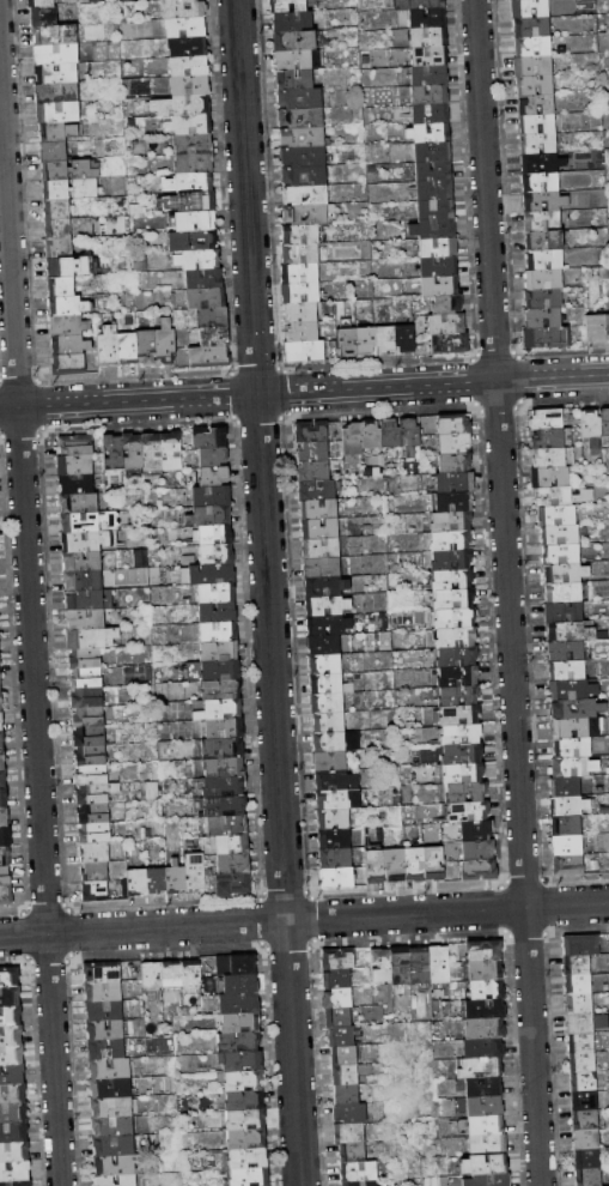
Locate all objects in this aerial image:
building: (168, 0)
building: (516, 0)
building: (114, 1)
building: (42, 4)
building: (419, 5)
building: (288, 6)
building: (183, 8)
building: (530, 8)
building: (44, 16)
building: (427, 19)
building: (293, 22)
building: (185, 28)
building: (531, 28)
building: (55, 35)
building: (428, 38)
building: (296, 42)
building: (188, 47)
building: (532, 48)
building: (57, 55)
building: (430, 56)
building: (298, 60)
building: (189, 67)
building: (534, 67)
building: (57, 74)
building: (430, 75)
building: (294, 80)
building: (535, 85)
building: (189, 86)
building: (57, 93)
building: (431, 96)
building: (300, 99)
building: (536, 104)
building: (181, 105)
building: (59, 113)
building: (431, 114)
building: (302, 117)
building: (189, 125)
building: (537, 125)
building: (57, 132)
building: (416, 132)
building: (303, 137)
building: (193, 144)
building: (538, 144)
building: (54, 152)
building: (433, 152)
building: (304, 156)
building: (194, 163)
building: (556, 165)
building: (69, 170)
building: (434, 171)
building: (305, 176)
building: (541, 182)
building: (188, 183)
building: (71, 189)
building: (434, 190)
building: (306, 195)
building: (196, 201)
building: (559, 205)
building: (57, 210)
building: (436, 210)
building: (306, 214)
building: (194, 220)
building: (542, 222)
building: (69, 229)
building: (433, 229)
building: (300, 234)
building: (191, 241)
building: (544, 241)
building: (438, 248)
building: (60, 249)
building: (300, 254)
building: (199, 260)
building: (544, 260)
building: (71, 267)
building: (439, 267)
building: (300, 273)
building: (205, 279)
building: (544, 279)
building: (440, 286)
building: (61, 288)
building: (300, 294)
building: (206, 298)
building: (543, 298)
building: (447, 305)
building: (68, 307)
building: (302, 313)
building: (213, 317)
building: (542, 317)
building: (607, 323)
building: (446, 325)
building: (69, 326)
building: (596, 328)
building: (303, 332)
building: (215, 337)
building: (546, 338)
building: (406, 339)
building: (366, 340)
building: (385, 340)
building: (166, 341)
building: (347, 343)
building: (450, 343)
building: (71, 345)
building: (109, 347)
building: (146, 347)
building: (127, 349)
building: (304, 351)
building: (211, 357)
building: (68, 365)
road: (304, 392)
building: (548, 419)
building: (453, 424)
building: (604, 424)
building: (591, 430)
building: (311, 432)
building: (371, 435)
building: (409, 436)
building: (390, 437)
building: (209, 438)
building: (549, 438)
building: (353, 440)
building: (455, 443)
building: (75, 444)
building: (133, 452)
building: (171, 452)
building: (313, 452)
building: (114, 453)
building: (152, 453)
building: (214, 456)
building: (549, 458)
building: (455, 462)
building: (75, 465)
building: (313, 471)
building: (214, 476)
building: (550, 477)
building: (456, 483)
building: (77, 484)
building: (317, 490)
building: (212, 496)
building: (562, 496)
building: (455, 502)
building: (79, 503)
building: (319, 510)
building: (556, 515)
building: (209, 516)
building: (451, 521)
building: (90, 522)
building: (319, 530)
building: (560, 534)
building: (215, 535)
building: (451, 541)
building: (81, 543)
building: (321, 549)
building: (217, 553)
building: (561, 555)
building: (452, 561)
building: (81, 562)
building: (323, 569)
building: (566, 573)
building: (212, 574)
building: (452, 580)
building: (83, 581)
building: (325, 587)
road: (268, 592)
building: (564, 592)
road: (507, 593)
building: (217, 594)
building: (89, 599)
building: (453, 599)
building: (327, 606)
building: (564, 612)
building: (218, 613)
building: (85, 619)
building: (455, 619)
building: (328, 625)
building: (219, 631)
building: (571, 631)
road: (30, 639)
building: (92, 639)
building: (456, 639)
building: (324, 645)
building: (219, 651)
building: (566, 651)
building: (457, 656)
building: (86, 659)
building: (325, 664)
building: (0, 667)
building: (221, 671)
building: (567, 671)
building: (458, 676)
building: (87, 679)
building: (0, 683)
building: (327, 683)
building: (223, 690)
building: (572, 690)
building: (459, 695)
building: (87, 698)
building: (328, 703)
building: (1, 704)
building: (578, 709)
building: (608, 709)
building: (219, 710)
building: (459, 715)
building: (90, 718)
building: (1, 722)
building: (329, 722)
building: (575, 727)
building: (225, 730)
building: (461, 734)
building: (90, 737)
building: (1, 740)
building: (337, 742)
building: (573, 748)
building: (223, 749)
building: (462, 754)
building: (91, 756)
building: (2, 760)
building: (330, 762)
building: (574, 767)
building: (224, 768)
building: (463, 774)
building: (92, 775)
building: (2, 779)
building: (337, 781)
building: (224, 787)
building: (566, 787)
building: (467, 792)
building: (96, 794)
building: (4, 798)
building: (339, 800)
building: (225, 806)
building: (568, 806)
building: (469, 812)
building: (95, 815)
building: (4, 818)
building: (334, 819)
building: (224, 825)
building: (566, 825)
building: (477, 830)
building: (96, 834)
building: (5, 837)
building: (335, 839)
building: (232, 845)
building: (567, 846)
building: (477, 849)
building: (96, 853)
building: (5, 857)
building: (336, 858)
building: (233, 864)
building: (434, 864)
building: (414, 865)
building: (568, 865)
building: (376, 866)
building: (395, 866)
building: (480, 870)
building: (96, 872)
building: (195, 872)
building: (5, 876)
building: (175, 878)
building: (337, 878)
building: (136, 882)
building: (156, 882)
building: (233, 884)
building: (96, 891)
building: (6, 895)
road: (304, 920)
building: (608, 939)
building: (581, 945)
building: (339, 958)
building: (486, 961)
building: (236, 964)
building: (439, 964)
building: (382, 966)
building: (401, 966)
building: (420, 966)
building: (578, 966)
building: (103, 972)
building: (190, 974)
building: (152, 975)
building: (171, 975)
building: (10, 978)
building: (337, 979)
building: (240, 985)
building: (578, 985)
building: (103, 991)
building: (487, 991)
building: (10, 997)
building: (339, 998)
building: (239, 1004)
building: (579, 1004)
building: (485, 1010)
building: (104, 1011)
building: (11, 1016)
building: (339, 1017)
building: (240, 1022)
building: (585, 1023)
building: (485, 1029)
building: (105, 1030)
building: (11, 1034)
building: (342, 1036)
building: (239, 1041)
building: (581, 1043)
building: (483, 1048)
building: (106, 1049)
building: (12, 1054)
building: (345, 1054)
building: (240, 1060)
building: (583, 1063)
building: (110, 1069)
building: (481, 1069)
building: (12, 1075)
building: (346, 1075)
building: (244, 1081)
building: (584, 1082)
building: (111, 1088)
building: (485, 1088)
building: (12, 1094)
building: (347, 1095)
building: (245, 1101)
building: (585, 1101)
building: (486, 1106)
building: (112, 1107)
building: (13, 1113)
building: (351, 1114)
building: (246, 1120)
building: (585, 1120)
building: (114, 1126)
building: (482, 1126)
building: (13, 1132)
building: (351, 1133)
building: (246, 1139)
building: (587, 1139)
building: (114, 1145)
building: (488, 1145)
building: (14, 1151)
building: (353, 1152)
building: (249, 1158)
building: (587, 1158)
building: (116, 1166)
building: (483, 1166)
building: (14, 1170)
building: (360, 1172)
building: (250, 1176)
building: (589, 1176)
building: (105, 1180)
building: (489, 1180)
building: (17, 1184)
building: (361, 1184)

